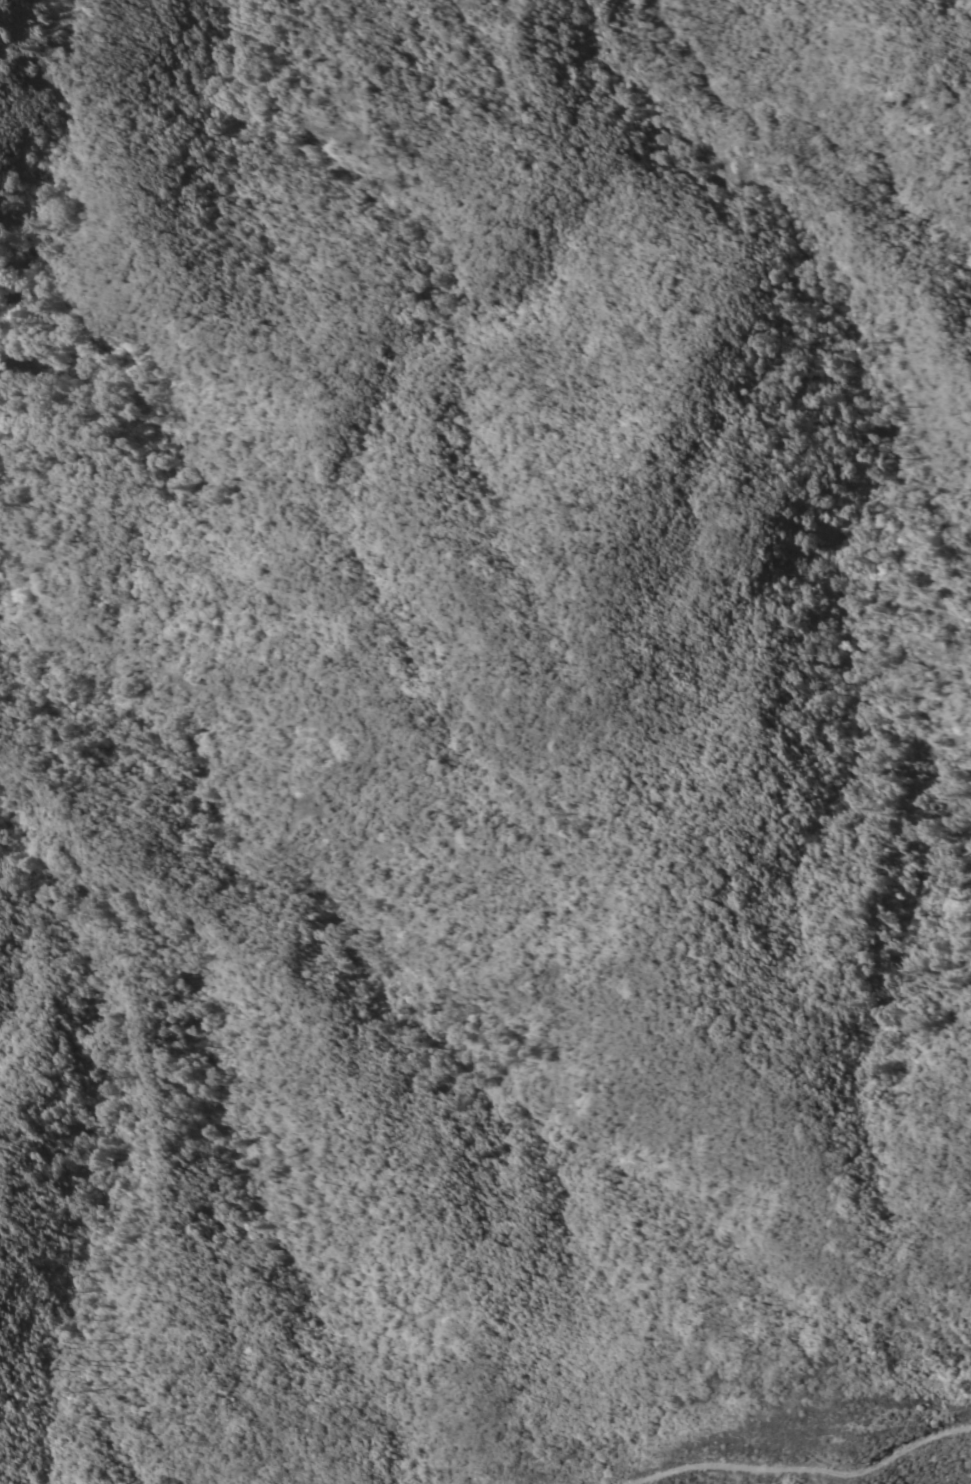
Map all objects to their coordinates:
road: (818, 1473)

